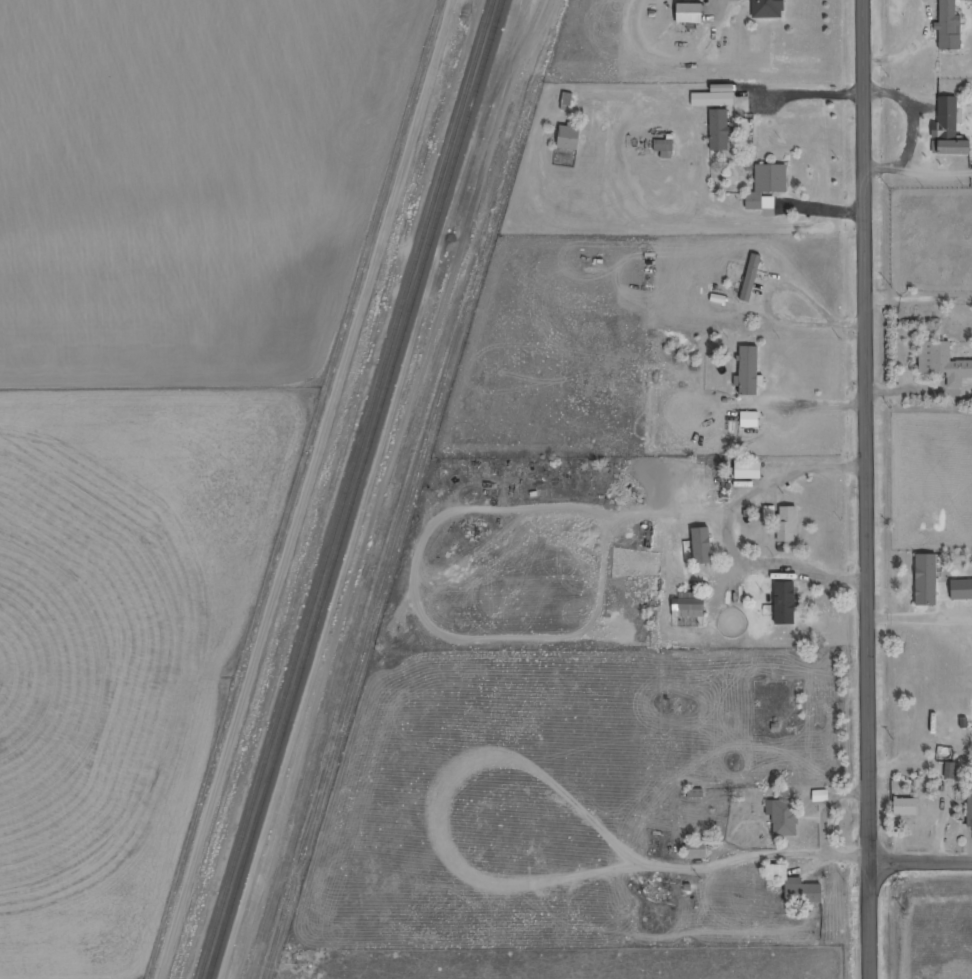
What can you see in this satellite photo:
building: (966, 0)
building: (767, 9)
building: (689, 14)
building: (948, 26)
building: (724, 95)
building: (948, 129)
building: (719, 130)
building: (568, 137)
building: (767, 186)
building: (750, 278)
building: (943, 363)
building: (748, 370)
building: (750, 419)
building: (750, 470)
railway: (348, 489)
railway: (358, 489)
road: (867, 489)
building: (788, 523)
building: (703, 545)
building: (927, 579)
building: (962, 589)
building: (785, 602)
building: (690, 605)
building: (950, 770)
building: (821, 795)
building: (906, 806)
building: (970, 806)
building: (784, 817)
building: (697, 849)
road: (920, 859)
building: (796, 886)

